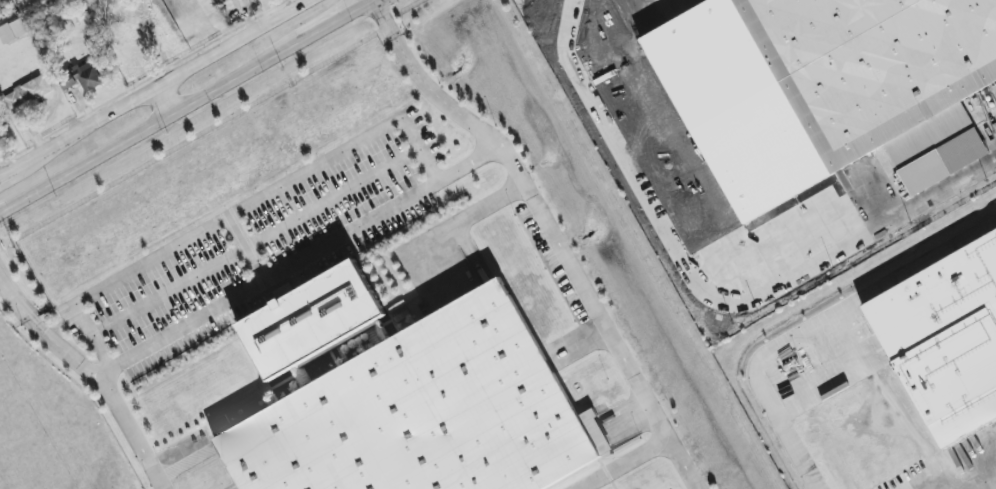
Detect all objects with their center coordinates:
road: (271, 8)
road: (647, 10)
road: (339, 17)
road: (216, 22)
building: (12, 29)
road: (291, 45)
road: (583, 47)
building: (881, 69)
building: (88, 75)
building: (67, 80)
road: (153, 87)
building: (26, 92)
road: (164, 99)
road: (135, 133)
road: (419, 151)
road: (468, 165)
road: (921, 202)
road: (237, 211)
road: (463, 220)
road: (549, 230)
road: (254, 242)
road: (243, 250)
road: (265, 279)
building: (309, 321)
road: (91, 336)
building: (947, 339)
road: (579, 342)
road: (94, 374)
building: (421, 412)
road: (180, 460)
road: (623, 464)
road: (982, 481)
road: (696, 488)
road: (697, 488)

